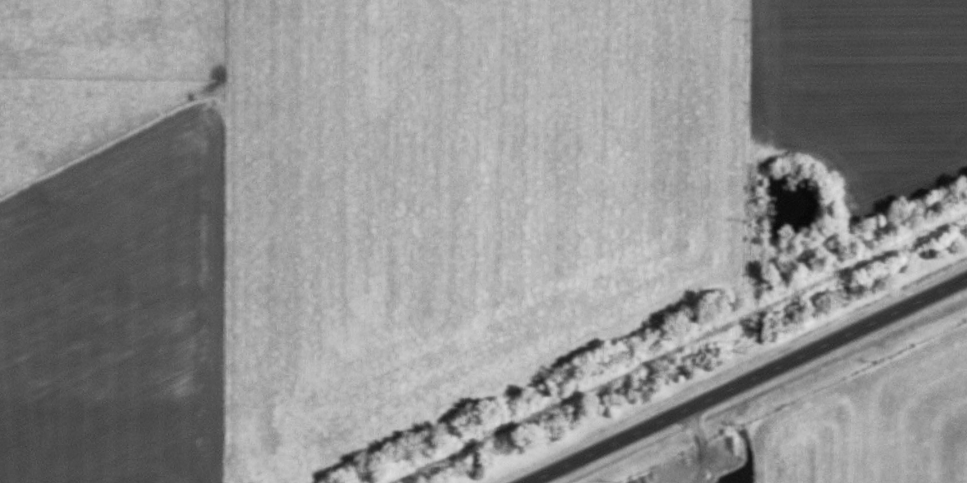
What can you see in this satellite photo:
railway: (645, 335)
road: (747, 380)

